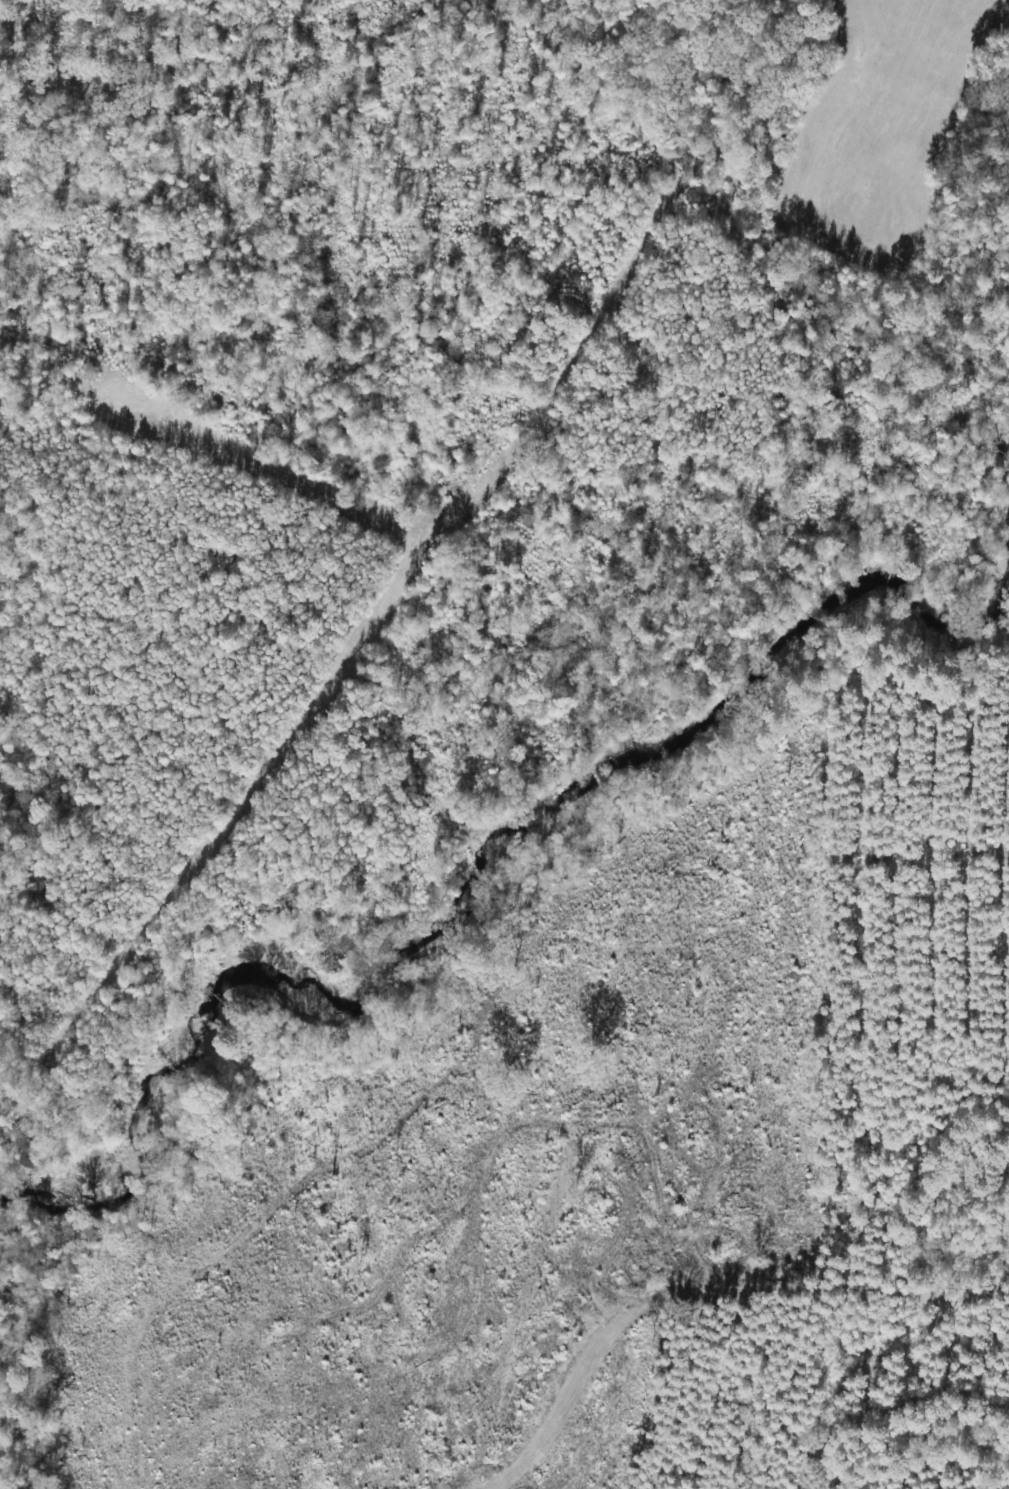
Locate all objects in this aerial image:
road: (903, 1287)

